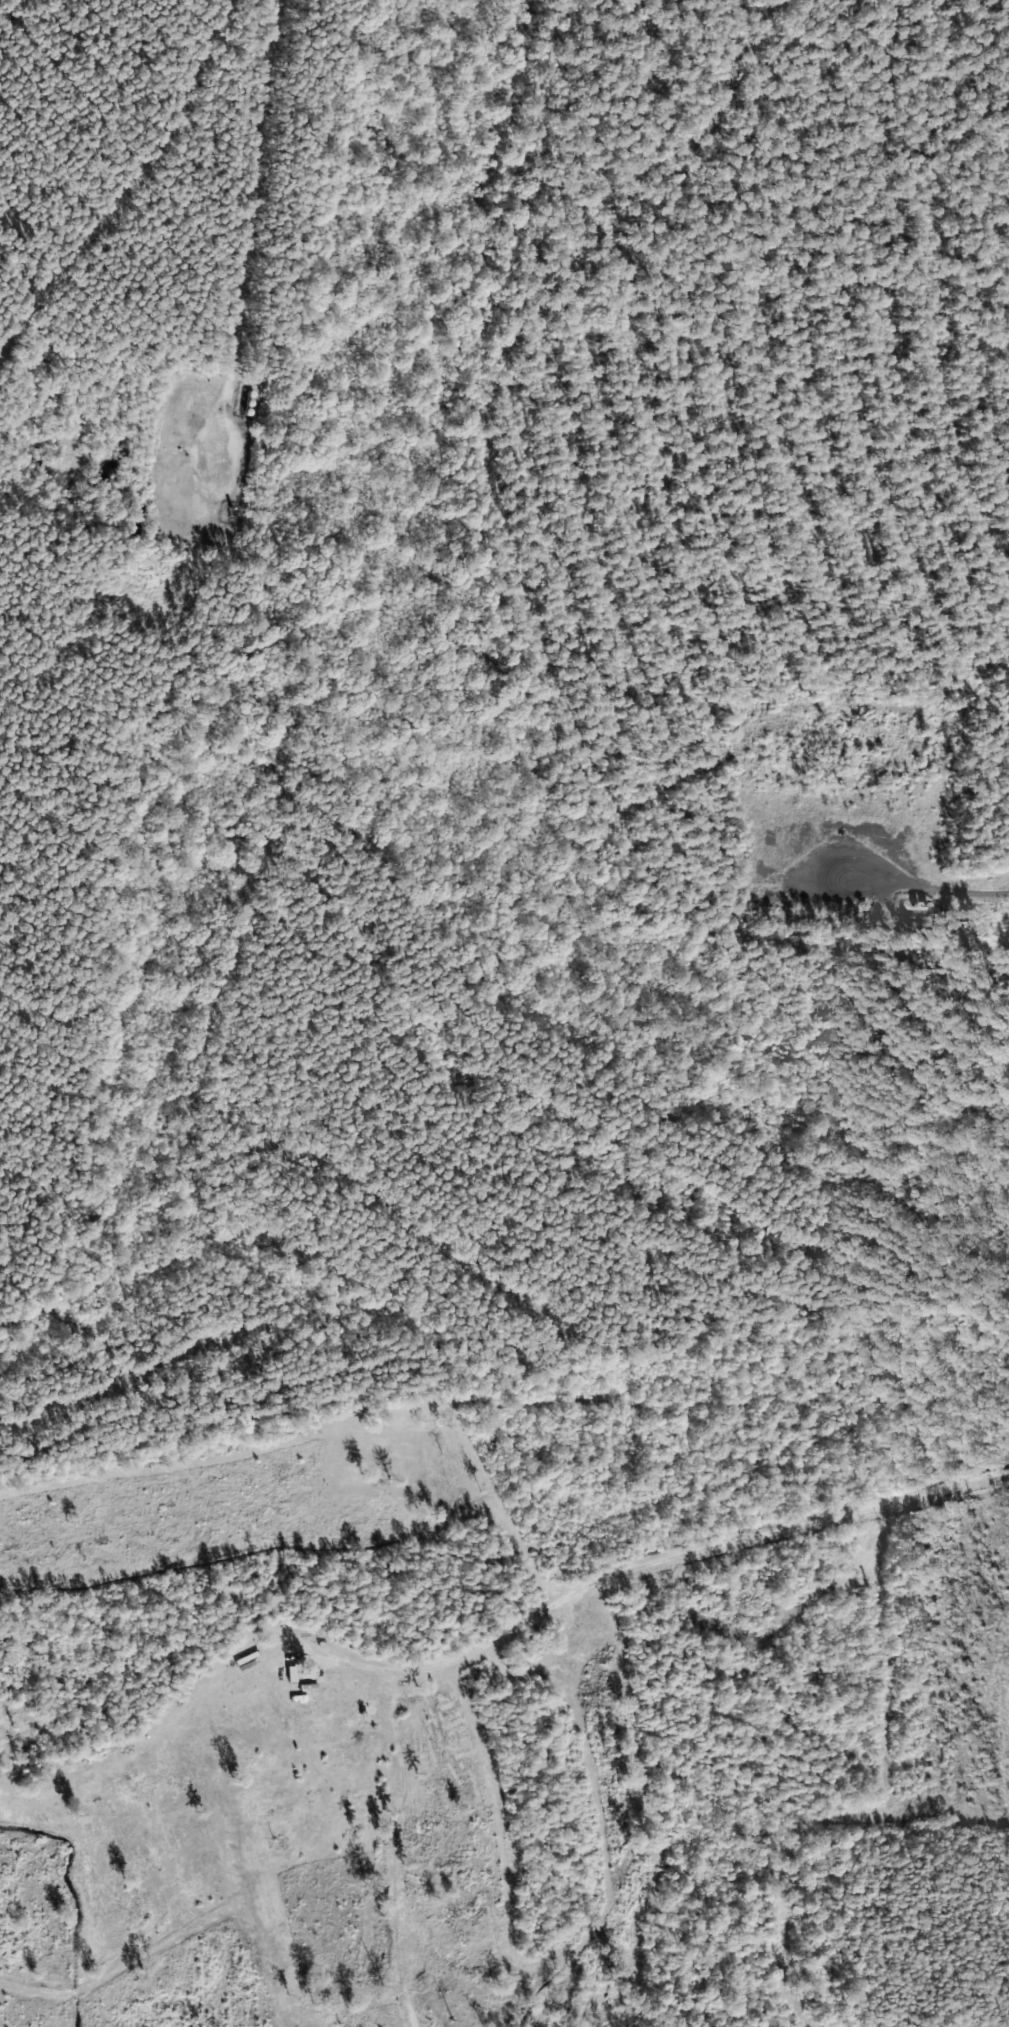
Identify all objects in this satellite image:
road: (762, 1545)

